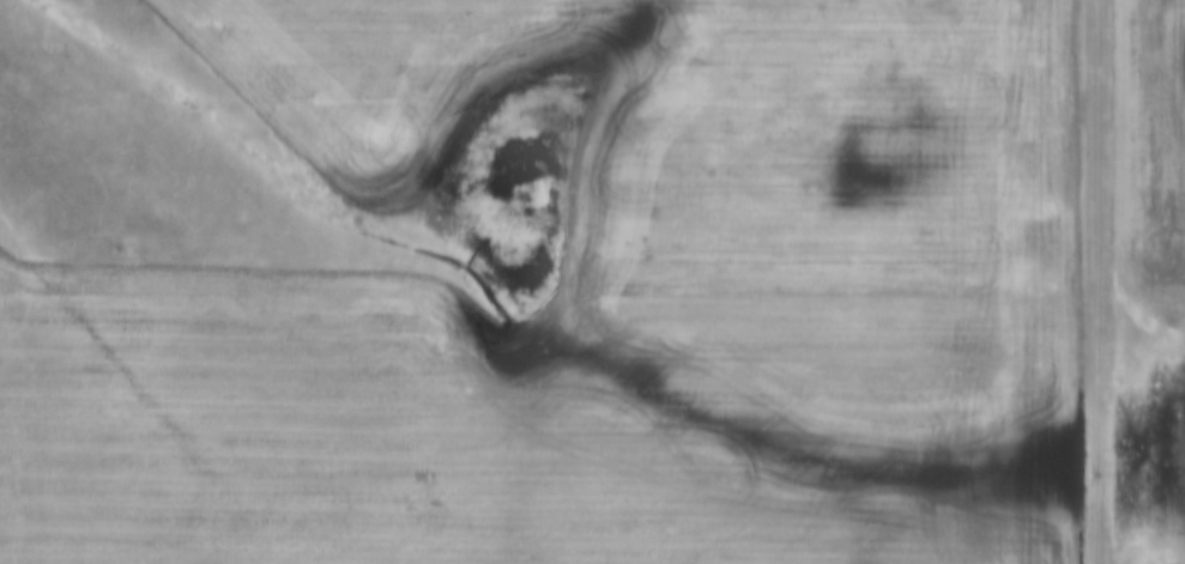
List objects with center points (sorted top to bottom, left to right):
road: (1098, 281)

